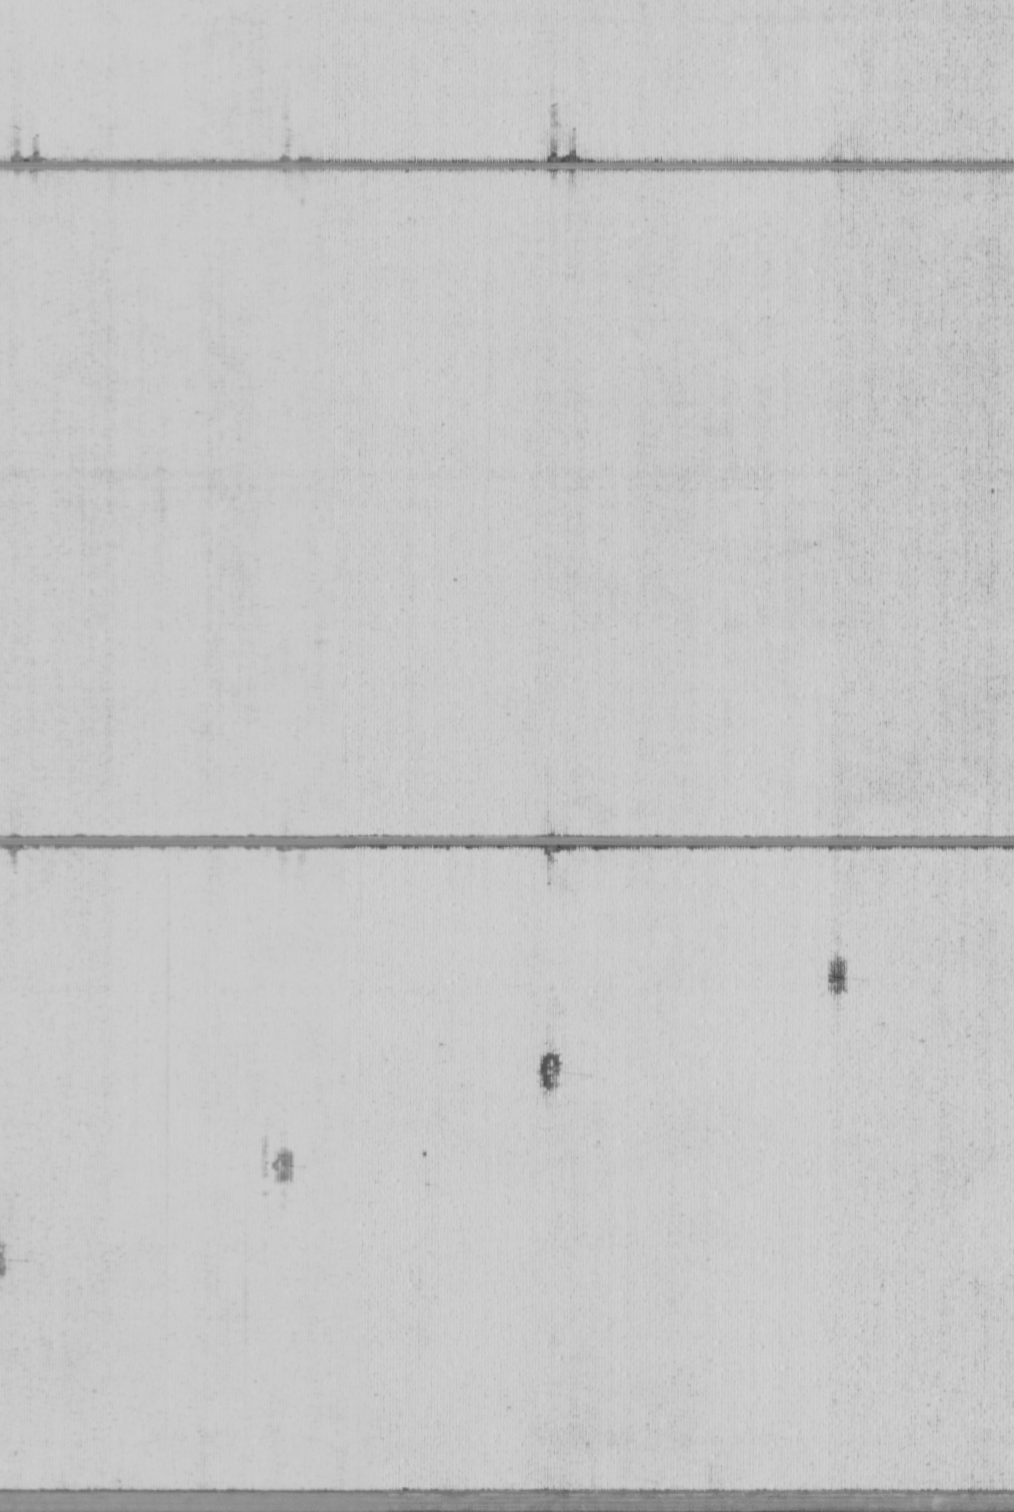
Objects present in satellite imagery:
crop: (507, 756)

